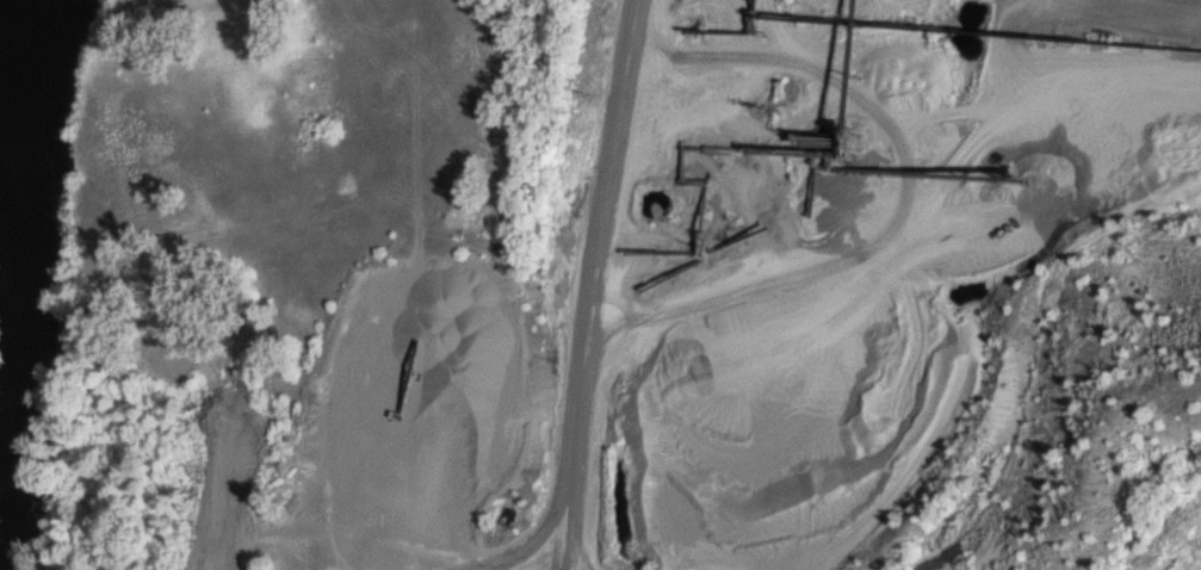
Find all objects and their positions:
quarry: (803, 312)
river: (8, 343)

